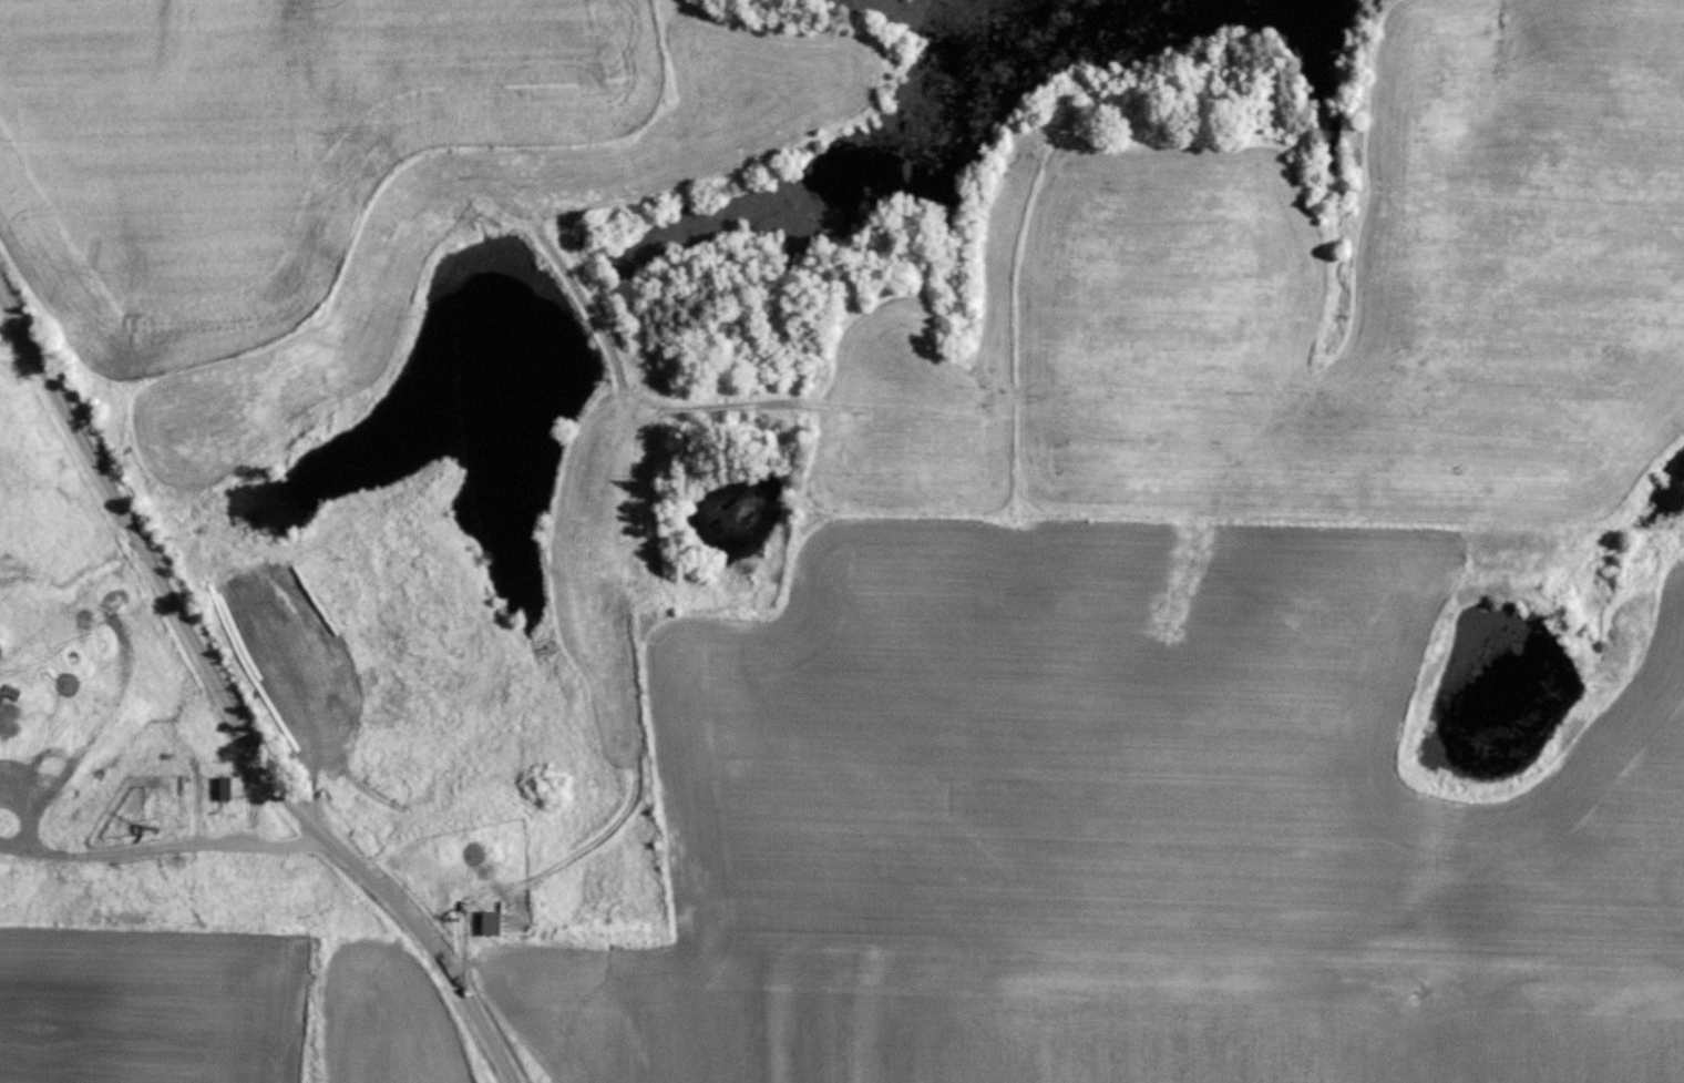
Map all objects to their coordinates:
road: (228, 709)
building: (229, 794)
building: (163, 804)

